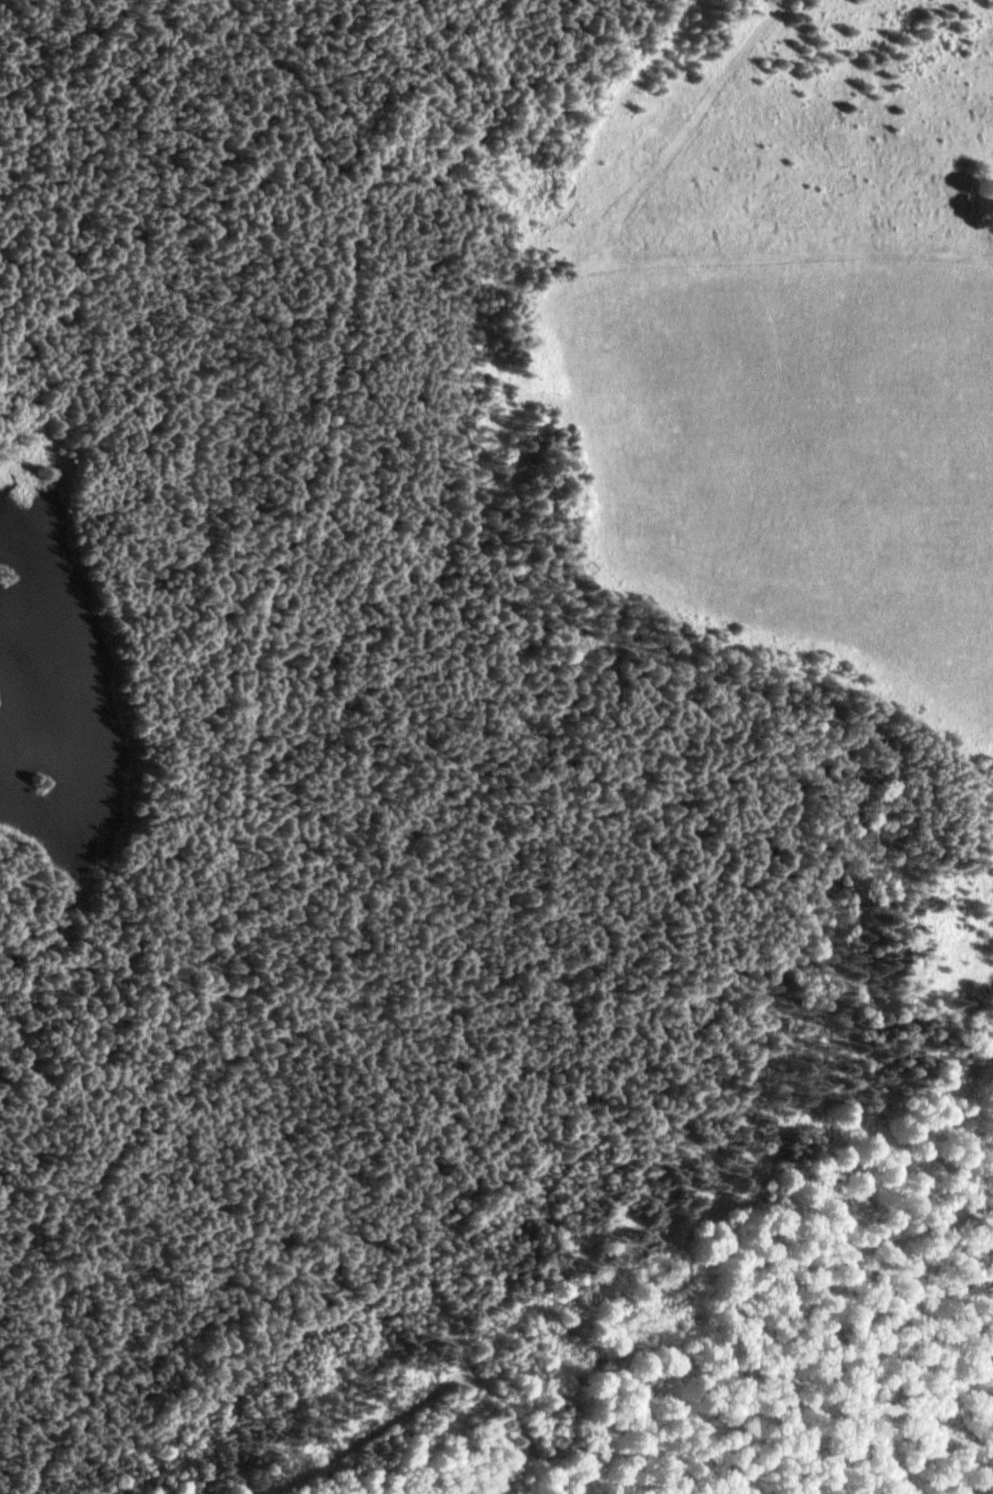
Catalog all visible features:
road: (900, 264)

